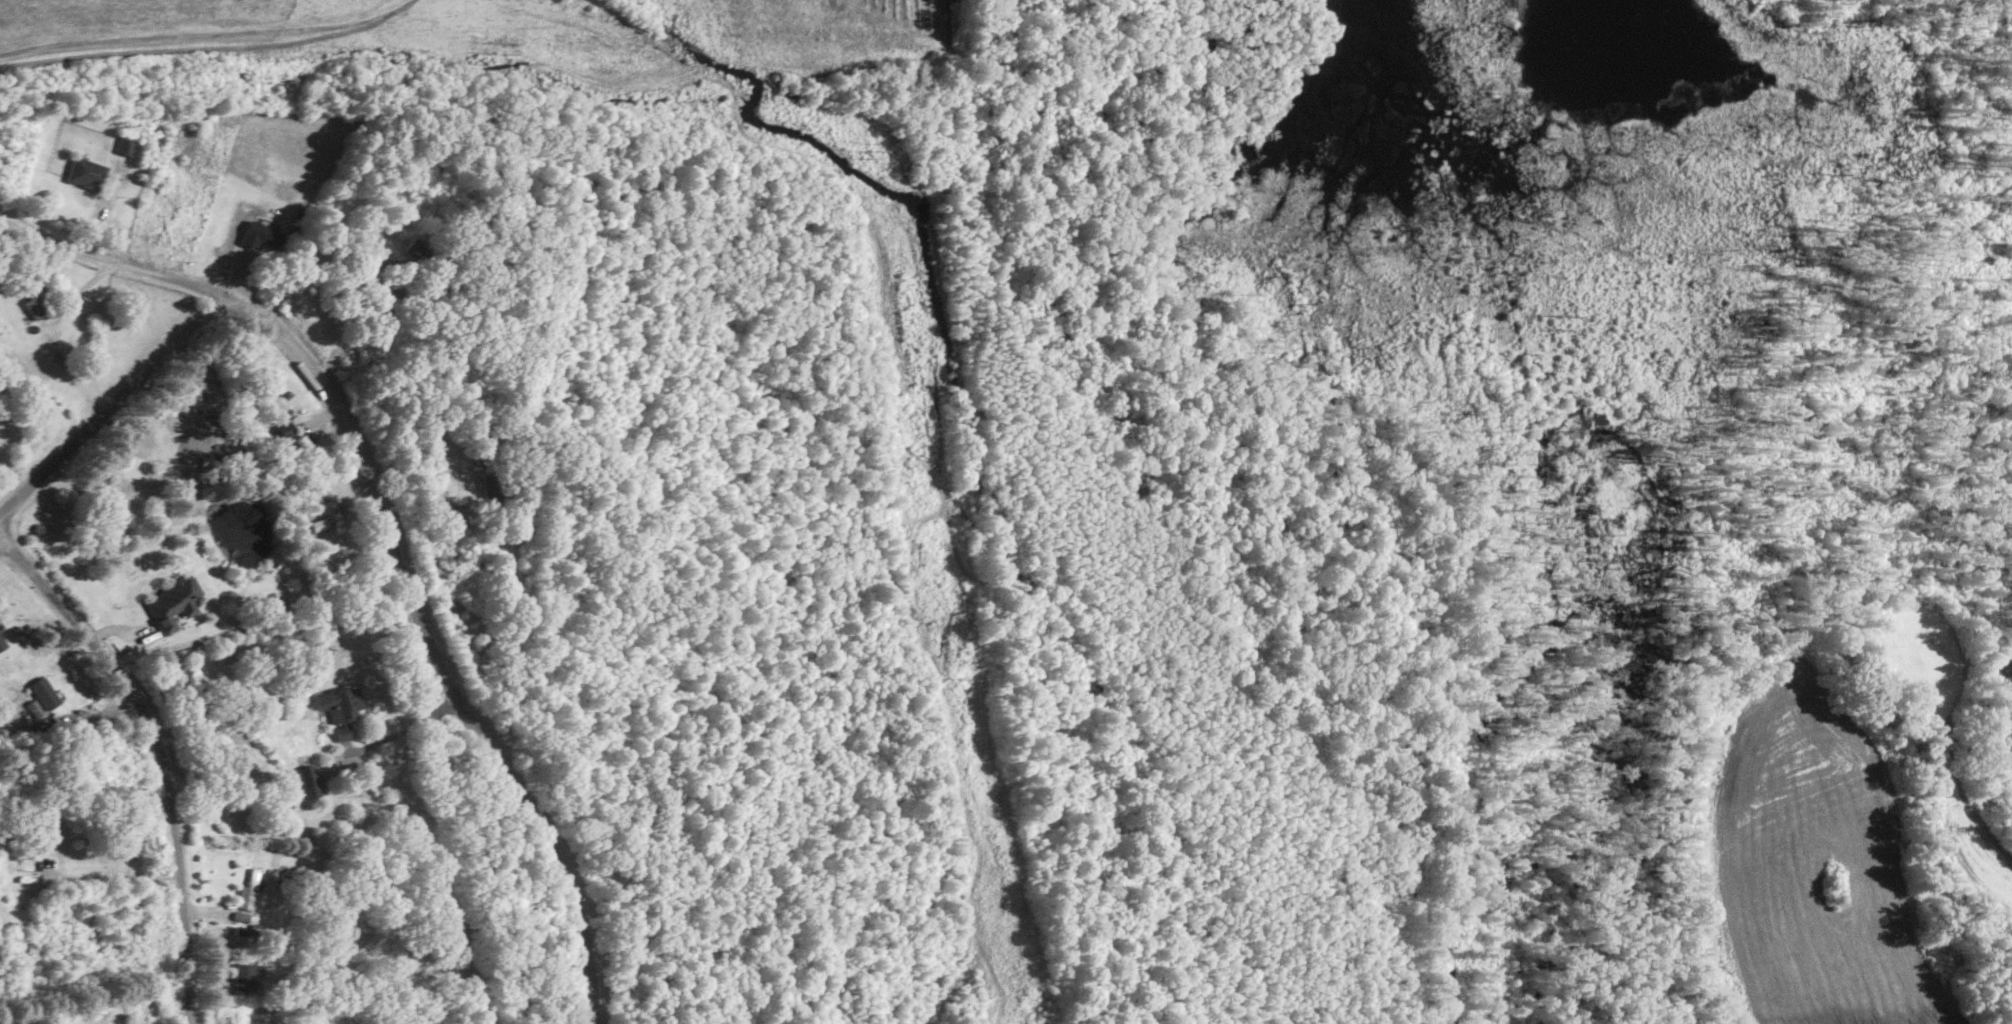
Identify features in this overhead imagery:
crop: (488, 36)
power tower: (508, 50)
building: (126, 145)
power tower: (871, 152)
building: (86, 172)
building: (260, 235)
road: (106, 264)
road: (370, 273)
building: (33, 306)
road: (49, 335)
road: (110, 404)
building: (285, 430)
building: (174, 602)
building: (0, 630)
road: (435, 641)
building: (2, 642)
power tower: (967, 677)
building: (43, 692)
building: (339, 702)
building: (33, 707)
building: (343, 730)
road: (397, 732)
road: (158, 752)
building: (309, 780)
road: (113, 876)
building: (248, 889)
building: (243, 975)

